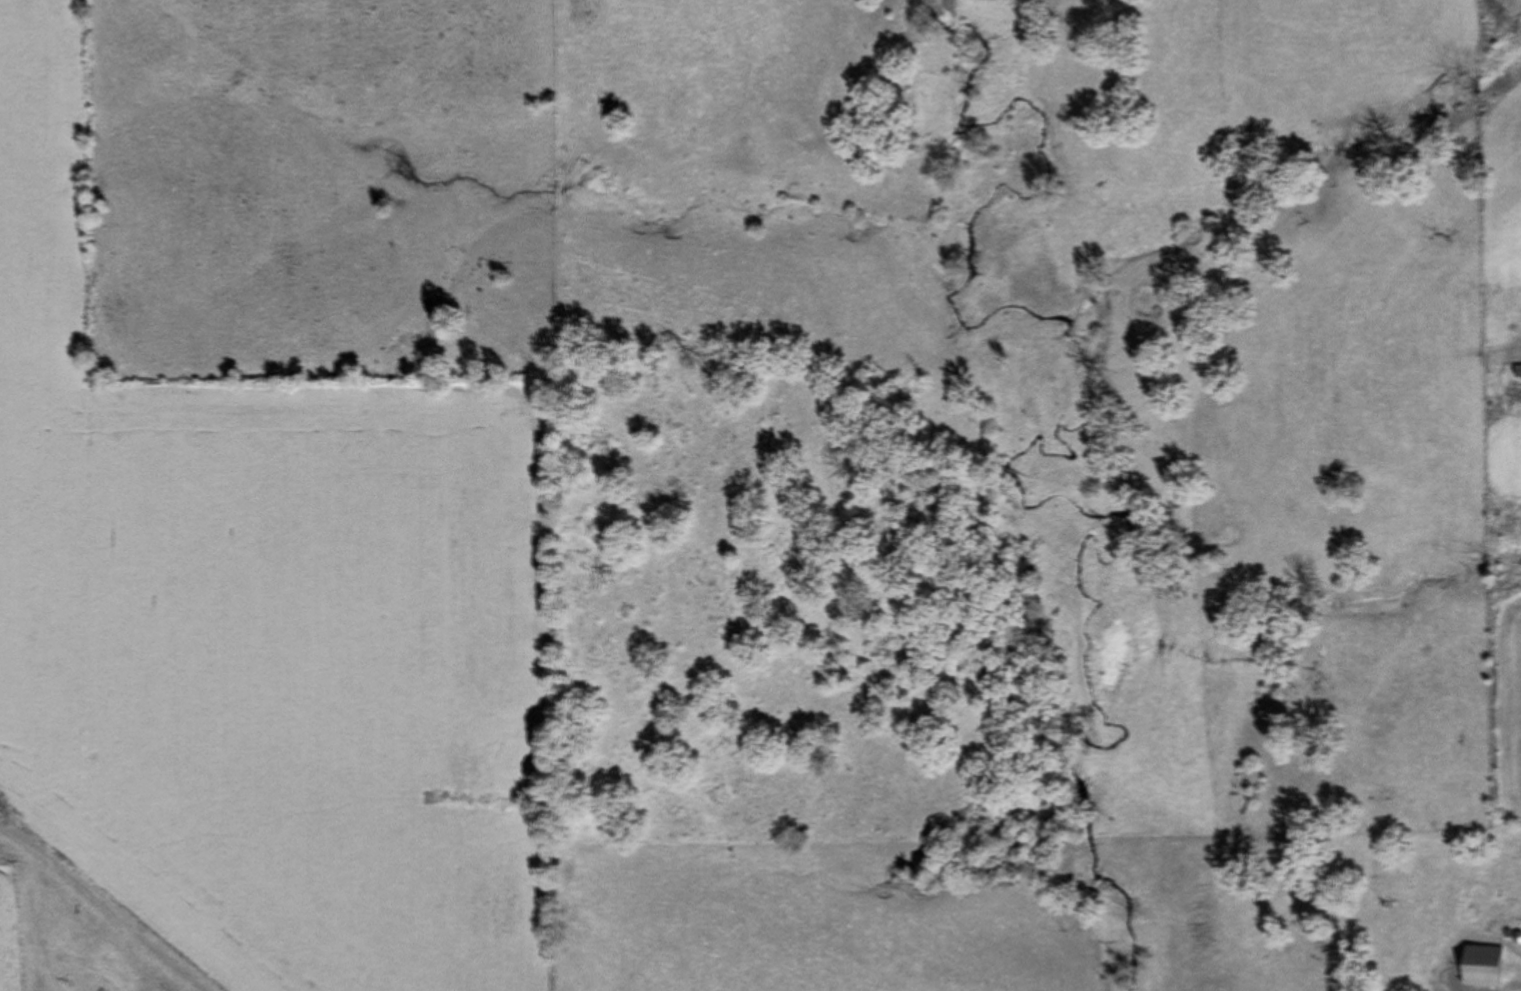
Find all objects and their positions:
building: (1516, 371)
road: (89, 921)
building: (1481, 968)

